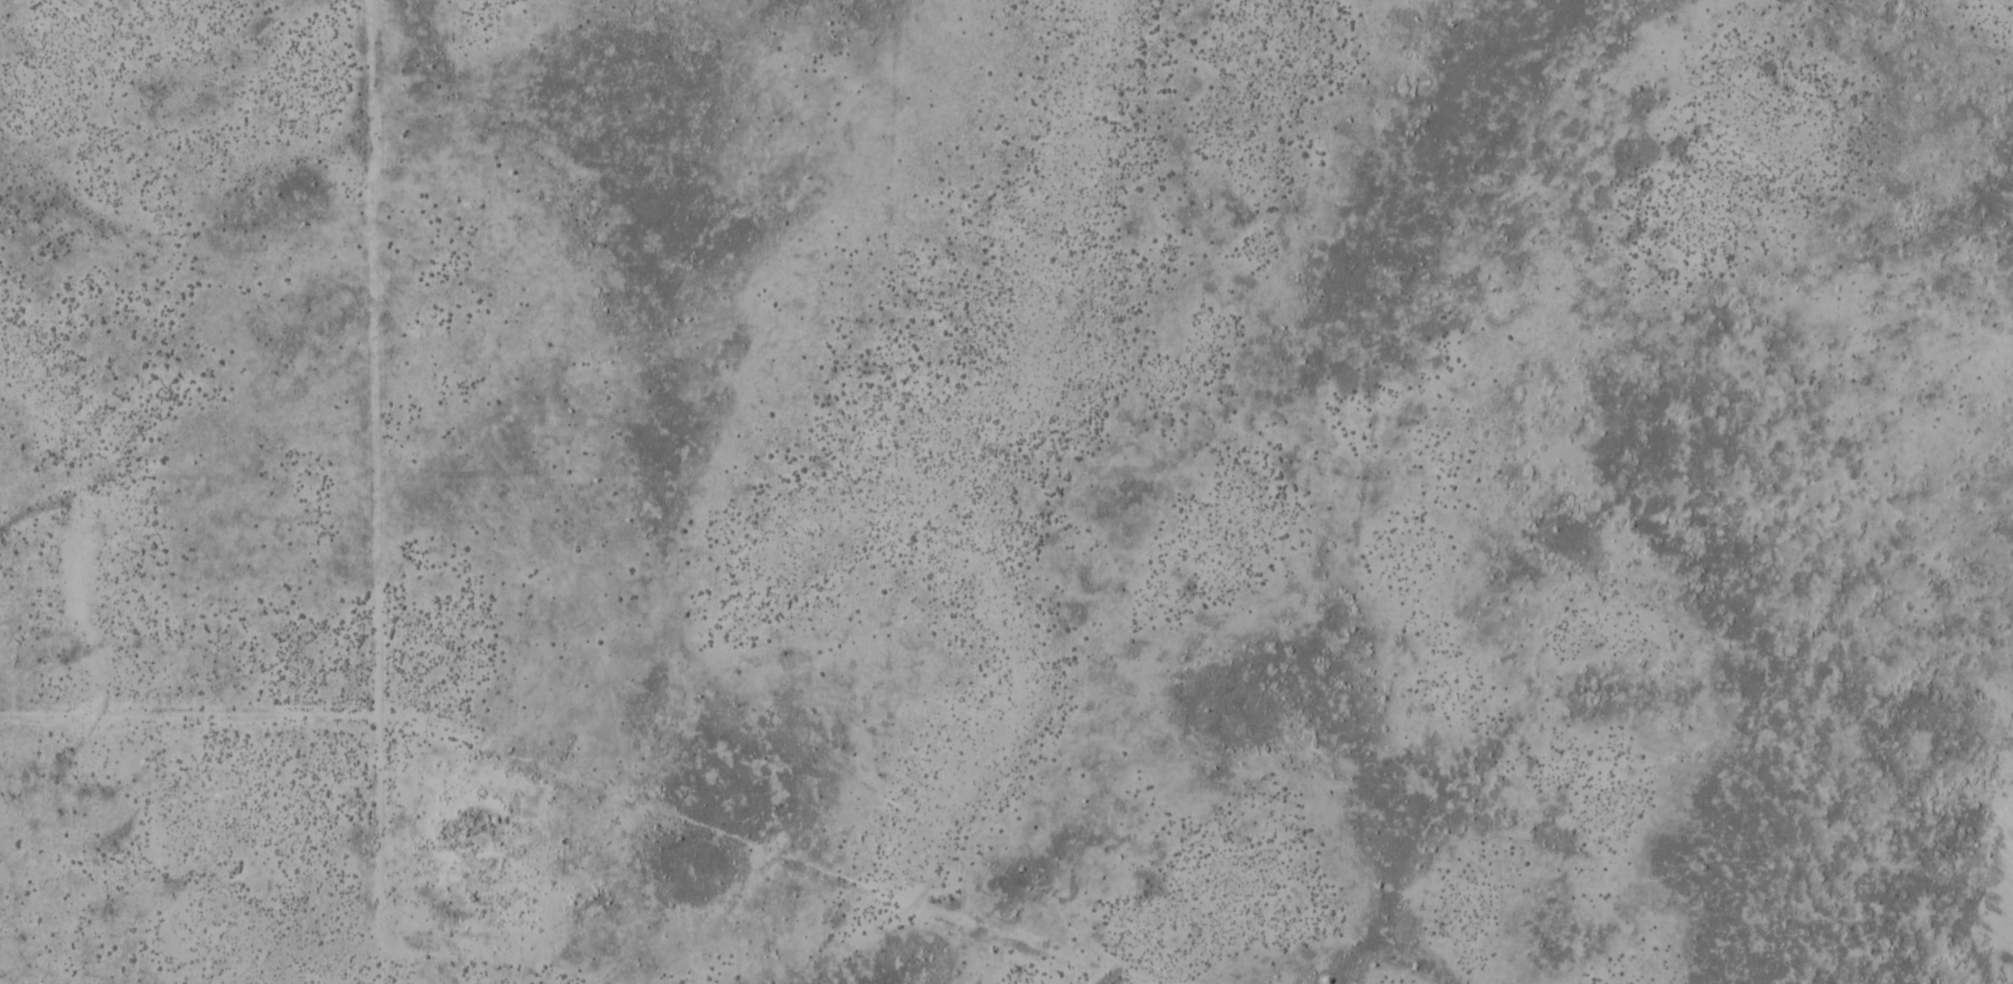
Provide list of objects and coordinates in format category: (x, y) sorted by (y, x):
road: (384, 448)

